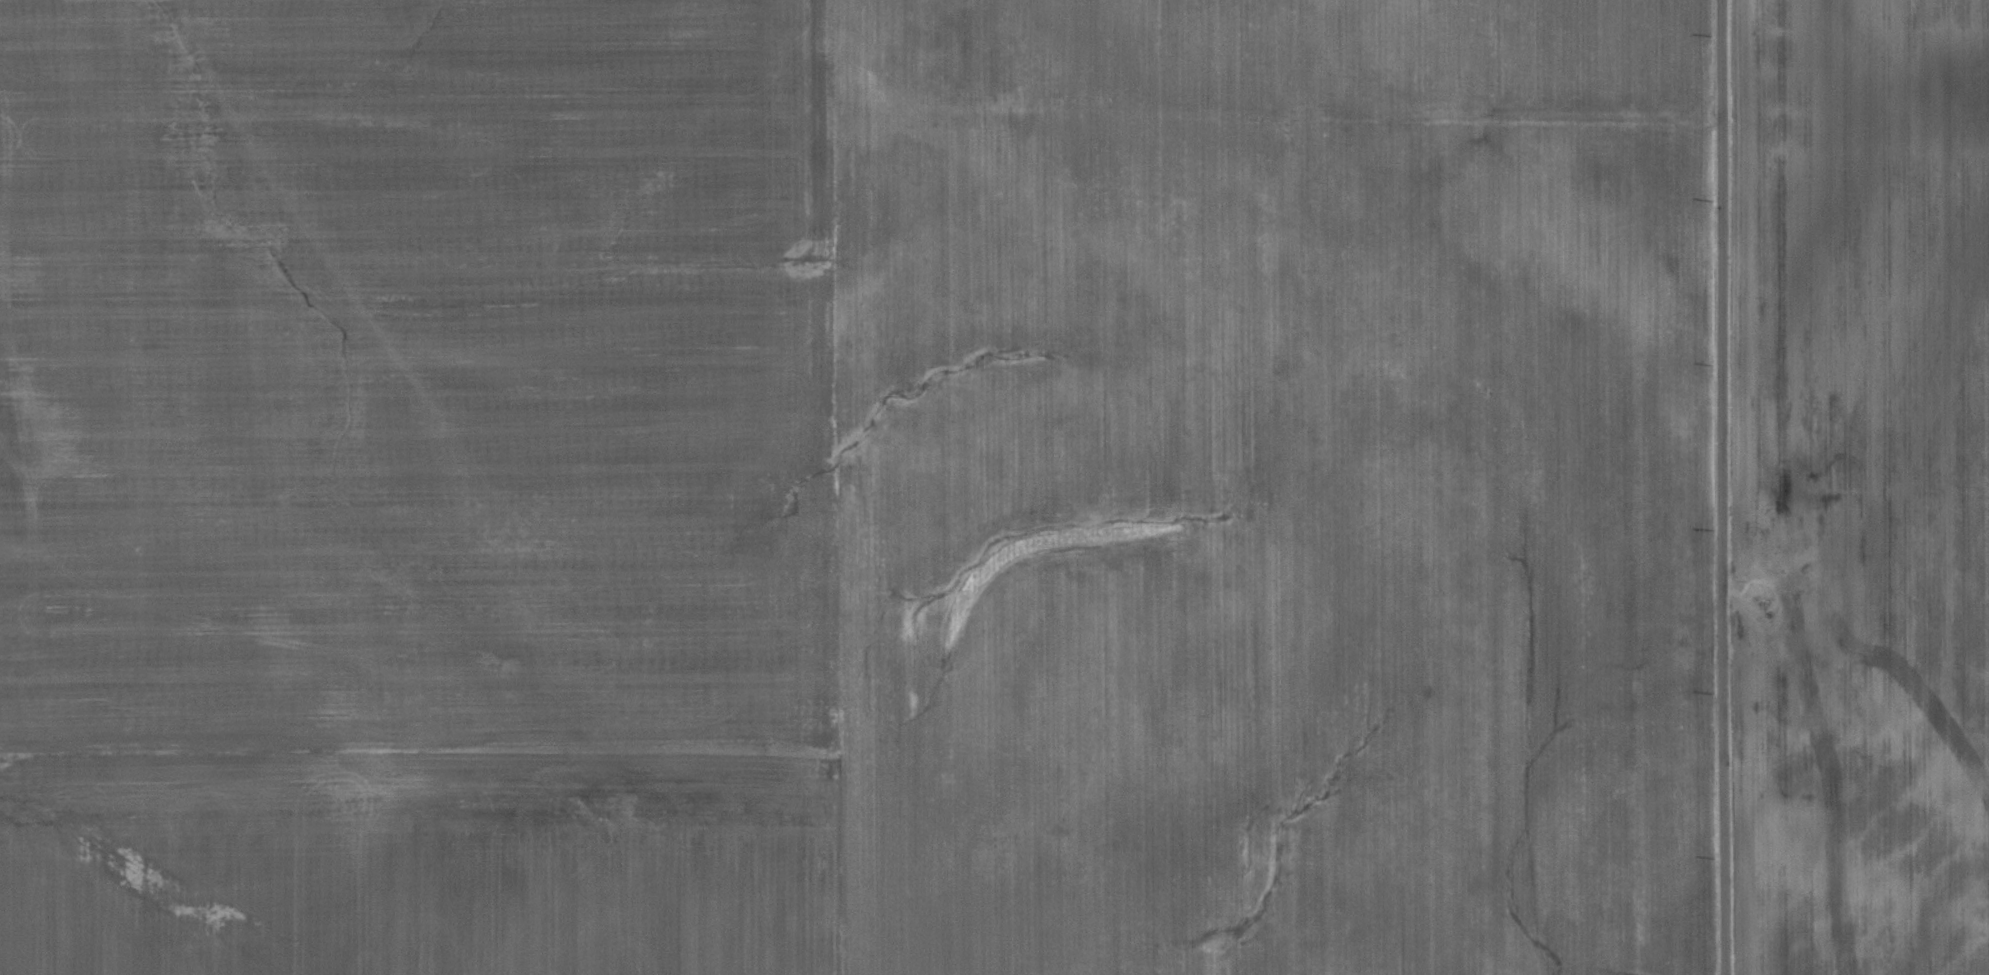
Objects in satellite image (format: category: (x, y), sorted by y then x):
road: (1723, 487)

